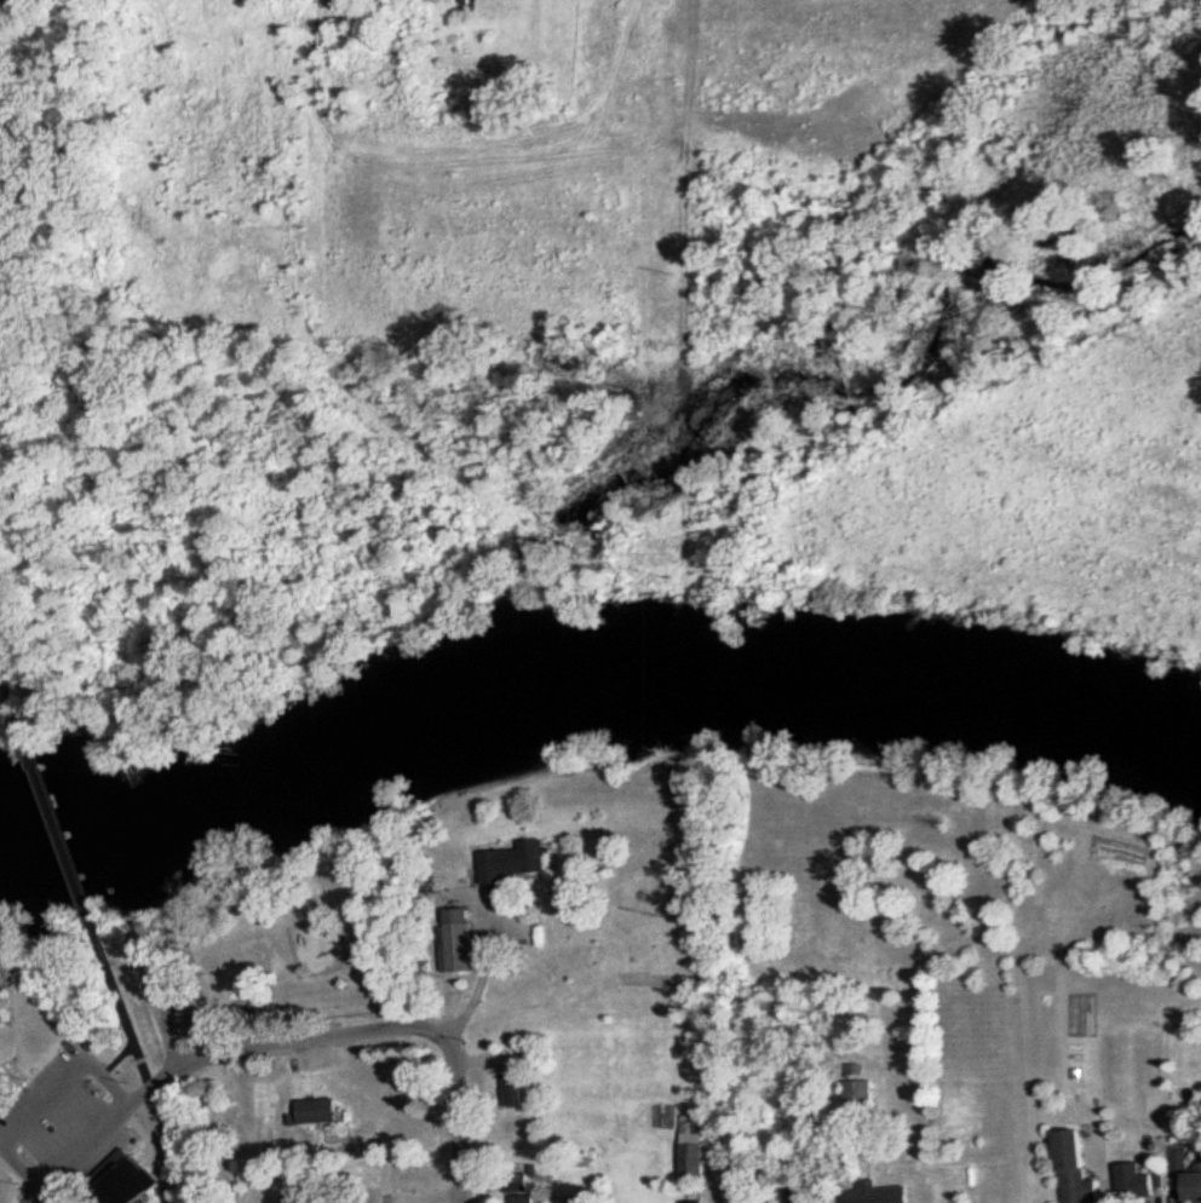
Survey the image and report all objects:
river: (590, 675)
road: (12, 707)
road: (59, 838)
building: (522, 862)
building: (461, 940)
road: (483, 979)
road: (125, 1011)
road: (211, 1058)
building: (515, 1090)
building: (862, 1095)
parking lot: (56, 1111)
building: (322, 1111)
road: (458, 1116)
building: (695, 1150)
building: (1182, 1161)
building: (1082, 1170)
building: (1140, 1184)
building: (133, 1186)
building: (1197, 1186)
building: (804, 1193)
building: (883, 1193)
building: (524, 1199)
building: (588, 1201)
building: (701, 1202)

